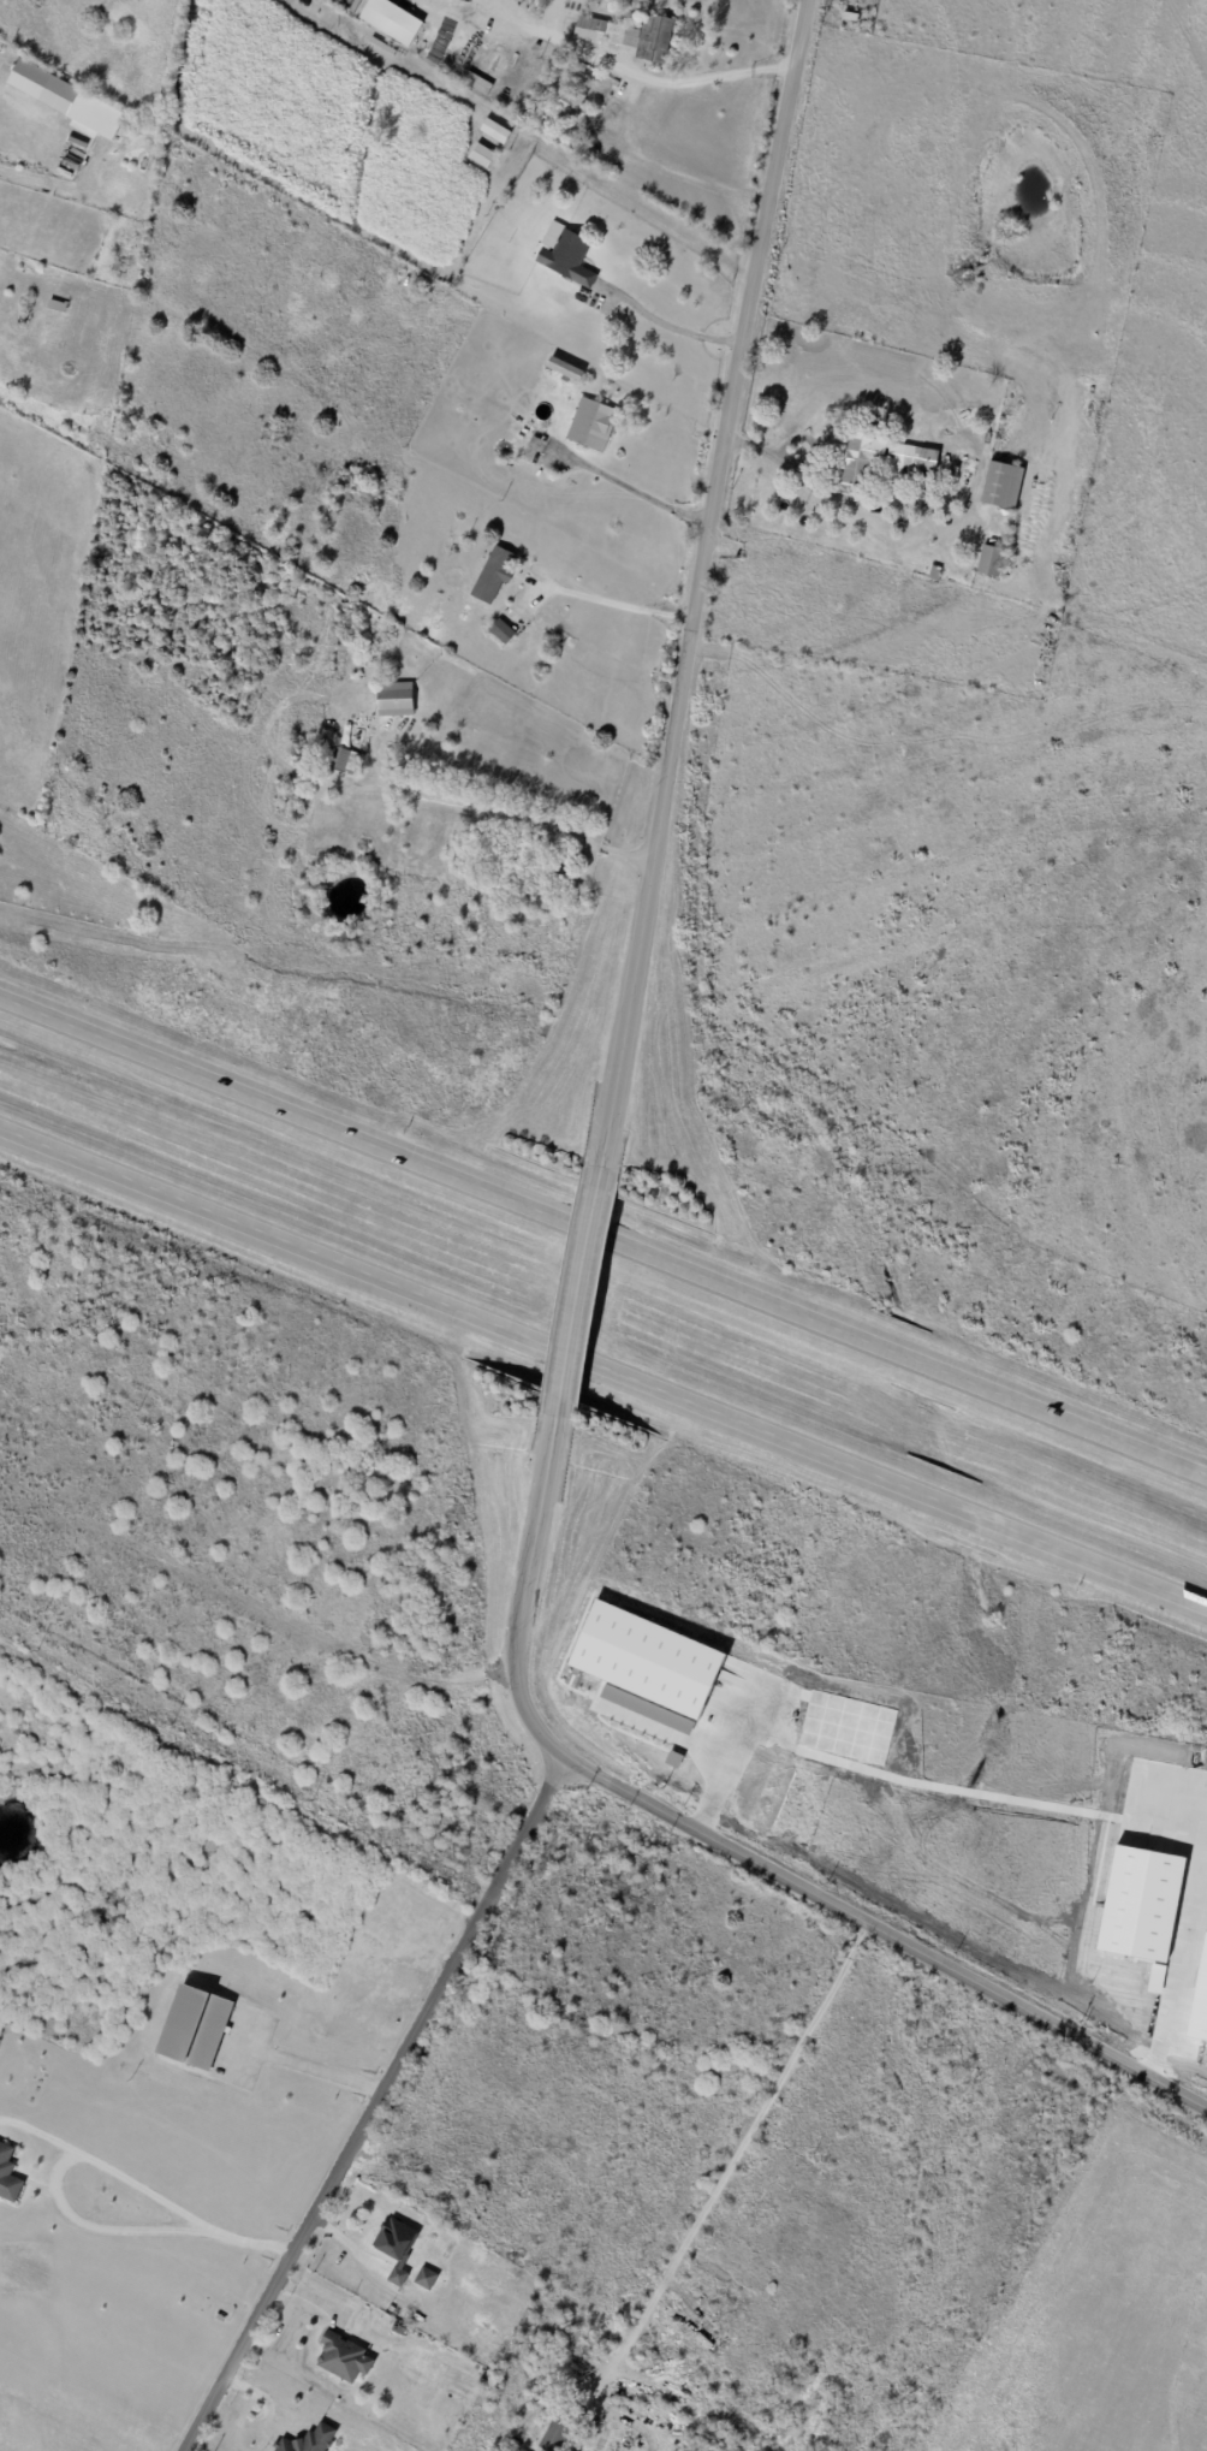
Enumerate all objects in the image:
building: (551, 5)
building: (850, 16)
building: (392, 20)
building: (630, 35)
road: (1188, 38)
building: (382, 46)
road: (628, 70)
building: (65, 100)
building: (572, 107)
building: (534, 112)
building: (494, 131)
building: (591, 154)
building: (481, 155)
building: (565, 254)
building: (25, 309)
road: (677, 327)
building: (565, 369)
building: (593, 425)
building: (860, 459)
building: (909, 461)
road: (628, 486)
building: (1003, 486)
building: (991, 562)
building: (935, 574)
building: (493, 576)
road: (690, 583)
road: (612, 605)
building: (503, 631)
building: (394, 700)
building: (340, 760)
road: (517, 820)
building: (539, 844)
road: (603, 1239)
road: (573, 1288)
road: (603, 1382)
building: (398, 1580)
building: (649, 1658)
building: (566, 1672)
road: (729, 1761)
road: (238, 1786)
road: (721, 1844)
road: (1185, 1982)
building: (194, 2028)
road: (310, 2072)
road: (374, 2107)
road: (737, 2158)
building: (8, 2176)
road: (145, 2186)
building: (91, 2196)
road: (101, 2224)
building: (396, 2247)
building: (426, 2278)
building: (400, 2331)
building: (344, 2357)
road: (1199, 2396)
building: (555, 2435)
building: (720, 2439)
building: (309, 2440)

